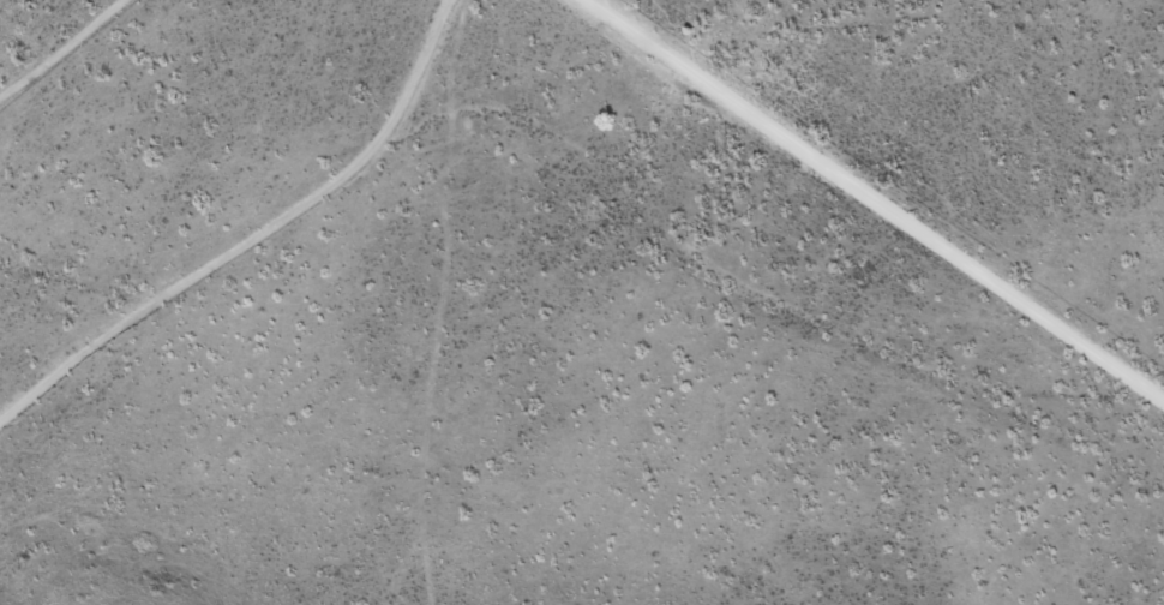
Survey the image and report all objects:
road: (578, 173)
road: (66, 385)

